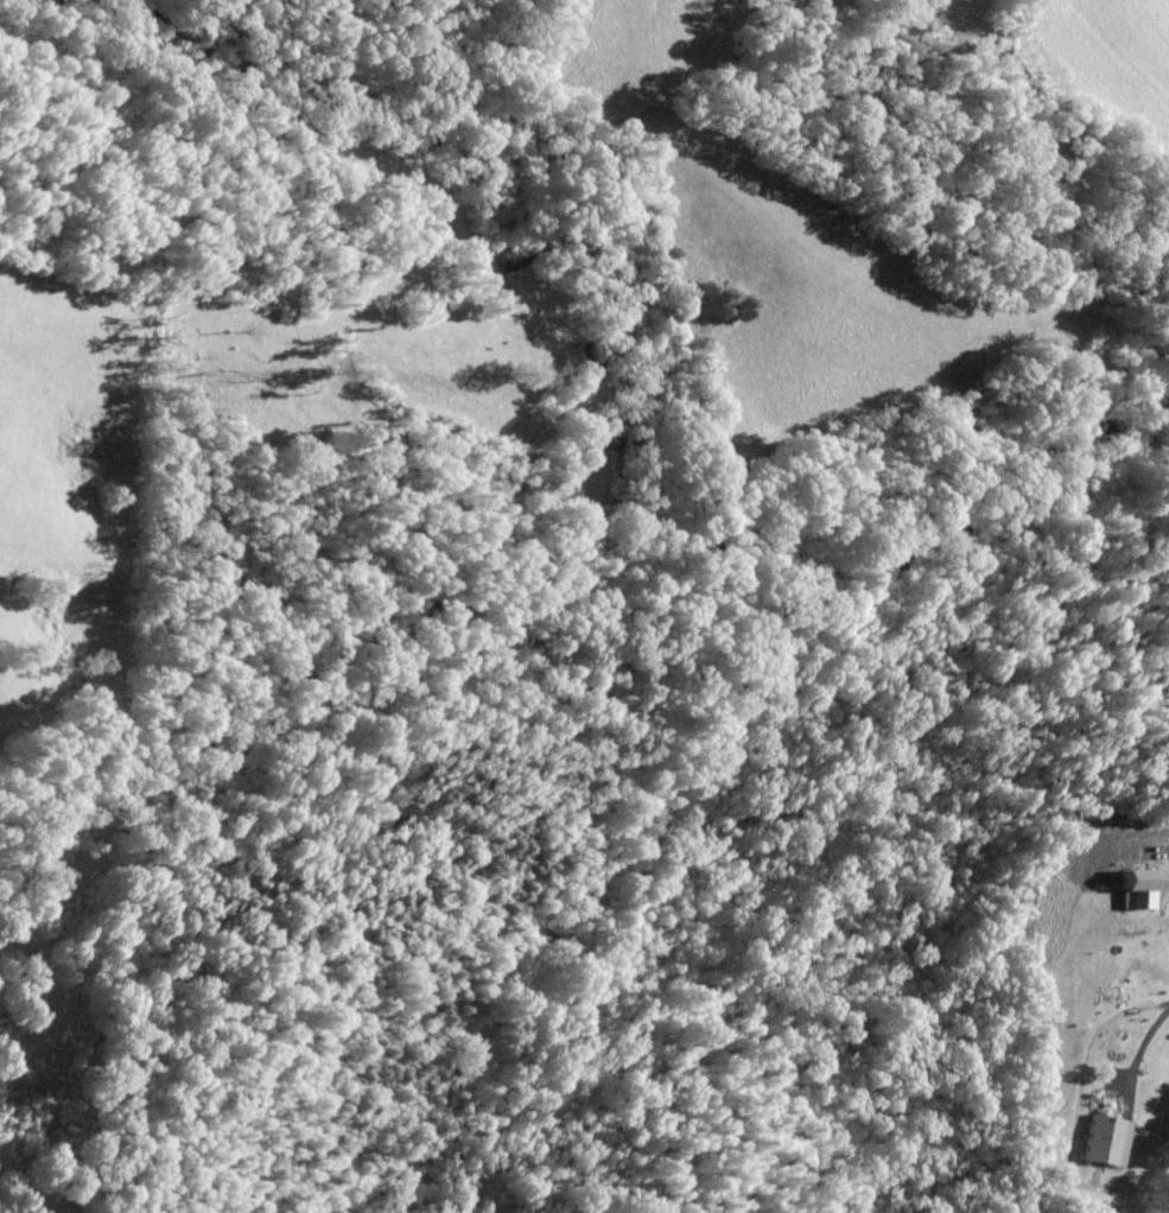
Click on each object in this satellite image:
building: (1135, 889)
road: (1095, 1065)
building: (1105, 1141)

